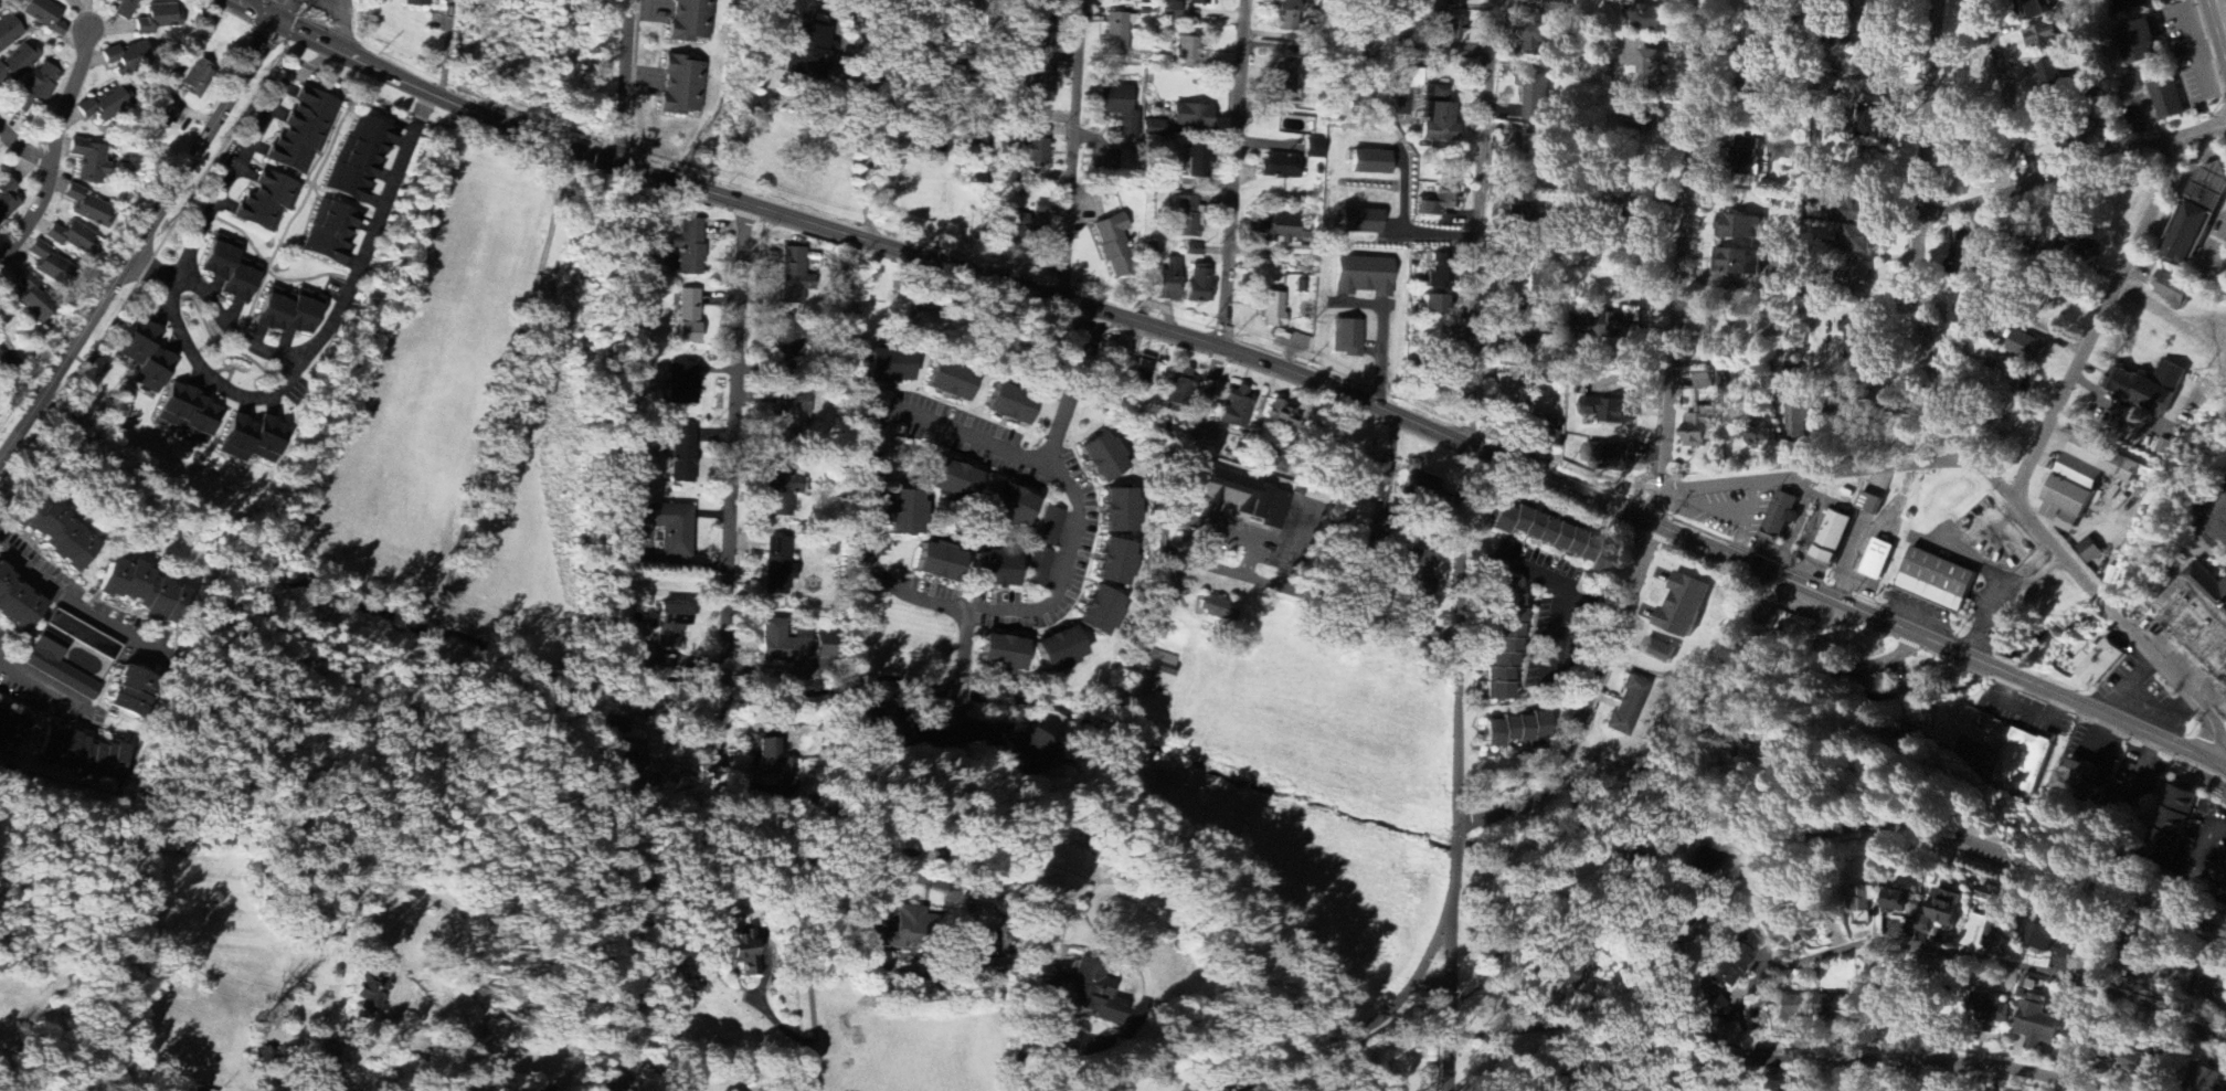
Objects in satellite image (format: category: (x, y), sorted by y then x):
building: (1758, 1)
road: (945, 2)
building: (1200, 2)
building: (1459, 2)
building: (415, 3)
building: (1557, 7)
road: (2223, 7)
building: (125, 9)
building: (2041, 10)
building: (1169, 11)
building: (42, 15)
building: (1285, 17)
building: (158, 19)
building: (1653, 19)
building: (691, 21)
building: (1885, 21)
building: (1758, 23)
traffic signals: (279, 24)
road: (344, 27)
building: (1455, 29)
building: (9, 32)
building: (1115, 34)
building: (1541, 39)
building: (2045, 39)
building: (2141, 42)
building: (806, 52)
building: (1187, 52)
building: (126, 57)
building: (19, 61)
building: (1880, 70)
building: (1652, 72)
building: (198, 76)
building: (1409, 77)
building: (2052, 77)
building: (955, 82)
road: (625, 83)
building: (681, 86)
building: (1040, 86)
building: (1285, 86)
building: (39, 87)
road: (2005, 94)
building: (1537, 99)
building: (2167, 99)
building: (105, 105)
building: (1120, 109)
building: (163, 117)
road: (870, 117)
building: (1437, 117)
building: (1192, 119)
building: (1877, 120)
building: (1644, 121)
building: (1154, 128)
building: (301, 134)
road: (24, 148)
building: (1033, 148)
road: (1072, 149)
building: (1314, 149)
building: (1796, 152)
road: (54, 155)
building: (1747, 158)
building: (358, 160)
building: (89, 162)
building: (1127, 162)
building: (1195, 162)
building: (1371, 163)
building: (1530, 163)
building: (1279, 167)
road: (1236, 174)
road: (2071, 176)
road: (230, 181)
building: (7, 199)
building: (267, 203)
building: (1438, 203)
building: (89, 209)
building: (1040, 209)
building: (1852, 214)
building: (1186, 218)
building: (1525, 218)
building: (2199, 218)
building: (1361, 223)
building: (1021, 227)
building: (1740, 229)
building: (1276, 230)
building: (329, 233)
road: (372, 239)
road: (1682, 239)
building: (73, 240)
building: (1857, 241)
road: (141, 245)
building: (2080, 245)
building: (689, 246)
building: (1114, 246)
building: (1192, 251)
building: (1969, 254)
road: (937, 262)
building: (1739, 263)
building: (50, 265)
building: (232, 271)
building: (1438, 272)
building: (792, 276)
building: (1363, 277)
building: (1857, 280)
building: (1168, 282)
building: (1198, 284)
building: (1528, 286)
building: (2174, 289)
building: (31, 299)
building: (1434, 306)
building: (1273, 310)
building: (290, 313)
building: (688, 317)
building: (925, 324)
building: (1614, 328)
road: (1384, 336)
building: (1346, 338)
building: (788, 340)
building: (1857, 340)
building: (1523, 346)
building: (2028, 349)
building: (145, 358)
building: (891, 368)
building: (1142, 371)
building: (2018, 379)
building: (1703, 381)
building: (682, 384)
building: (952, 384)
building: (1878, 388)
building: (2149, 388)
building: (1180, 389)
building: (1505, 392)
road: (259, 399)
building: (1011, 406)
building: (1237, 409)
building: (1611, 412)
road: (1950, 414)
building: (187, 415)
building: (791, 416)
building: (1281, 416)
building: (1799, 423)
building: (1699, 427)
building: (1541, 431)
building: (1169, 432)
building: (1760, 436)
building: (253, 439)
building: (682, 454)
road: (2018, 456)
building: (1609, 457)
building: (1104, 458)
building: (2087, 475)
building: (956, 480)
building: (1371, 480)
road: (1660, 484)
building: (1421, 487)
building: (780, 490)
building: (1247, 496)
building: (1869, 504)
road: (1647, 505)
road: (861, 506)
building: (1011, 506)
road: (1657, 507)
building: (1122, 511)
road: (731, 512)
building: (905, 512)
building: (2050, 512)
building: (1781, 518)
building: (2069, 523)
building: (1050, 527)
building: (669, 528)
building: (53, 532)
building: (1554, 537)
building: (1833, 538)
road: (1463, 544)
building: (2090, 551)
building: (1878, 560)
building: (941, 562)
building: (1117, 563)
building: (777, 566)
building: (1038, 566)
building: (997, 570)
road: (1210, 570)
building: (1418, 570)
road: (1539, 573)
building: (1938, 581)
building: (141, 590)
building: (17, 603)
road: (73, 603)
building: (1684, 606)
building: (1215, 608)
road: (1561, 610)
building: (1102, 612)
building: (2198, 618)
building: (1771, 619)
building: (670, 625)
building: (1505, 639)
building: (783, 643)
road: (1938, 643)
building: (826, 646)
road: (963, 646)
building: (1060, 649)
road: (521, 650)
building: (1660, 652)
building: (1004, 655)
building: (643, 658)
building: (2100, 663)
building: (59, 667)
building: (1154, 670)
building: (129, 691)
road: (59, 692)
road: (957, 693)
road: (1587, 706)
building: (1626, 707)
road: (955, 717)
building: (617, 720)
building: (11, 728)
building: (891, 730)
building: (1516, 730)
building: (83, 754)
building: (1029, 754)
building: (2023, 761)
building: (632, 762)
building: (2078, 783)
building: (2172, 824)
building: (1709, 856)
road: (2194, 859)
building: (2223, 876)
road: (415, 885)
road: (1095, 894)
building: (1862, 900)
road: (1705, 902)
building: (1901, 902)
building: (1993, 911)
building: (1944, 912)
building: (1780, 917)
building: (1808, 932)
building: (911, 935)
building: (2042, 938)
building: (992, 946)
road: (807, 949)
building: (2063, 951)
building: (741, 952)
road: (1953, 952)
building: (1736, 960)
building: (1568, 965)
road: (2067, 985)
building: (2209, 988)
building: (370, 991)
building: (1086, 993)
road: (760, 1005)
building: (1834, 1007)
building: (1791, 1008)
building: (1714, 1009)
building: (1991, 1013)
building: (2037, 1023)
road: (1361, 1029)
road: (1504, 1034)
building: (2142, 1064)
road: (1938, 1077)
building: (2203, 1079)
building: (198, 1090)

